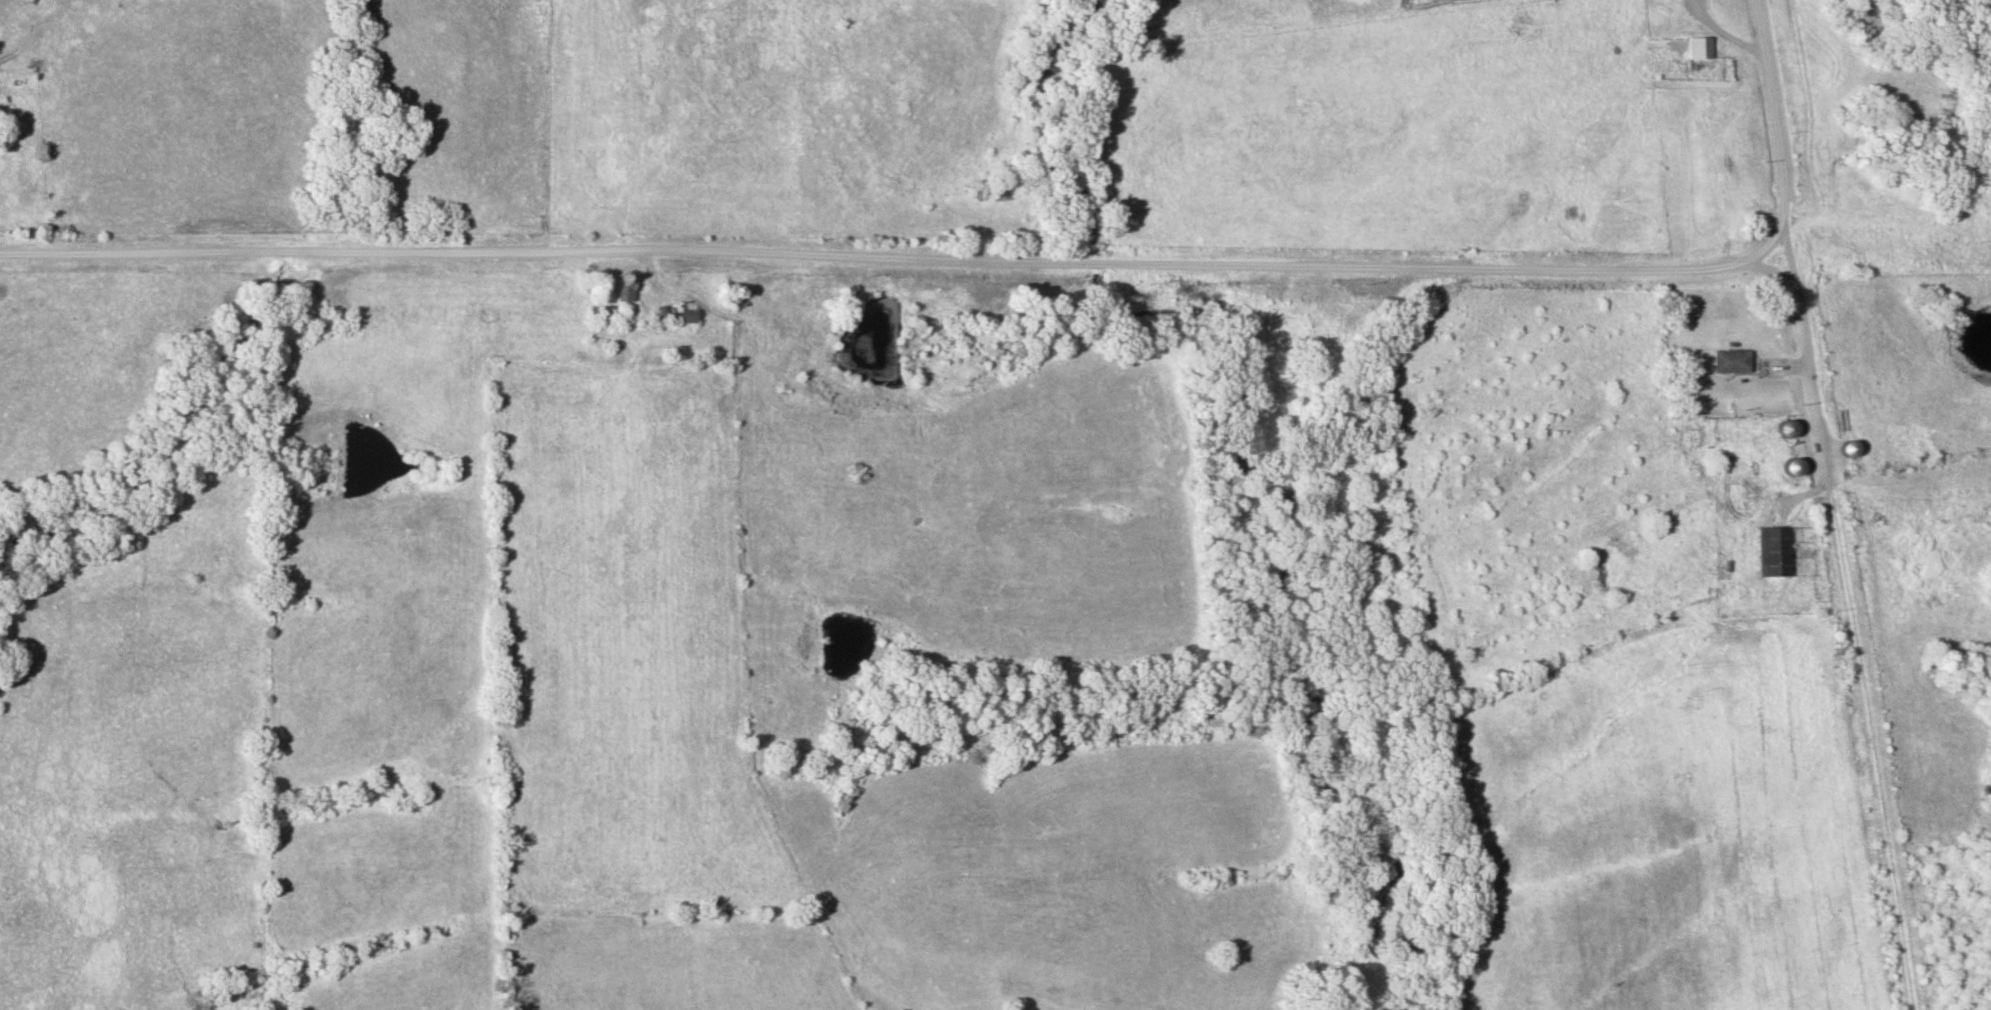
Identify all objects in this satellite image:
building: (1700, 46)
road: (1775, 133)
road: (891, 258)
building: (624, 288)
building: (685, 314)
building: (1734, 359)
building: (1777, 550)

